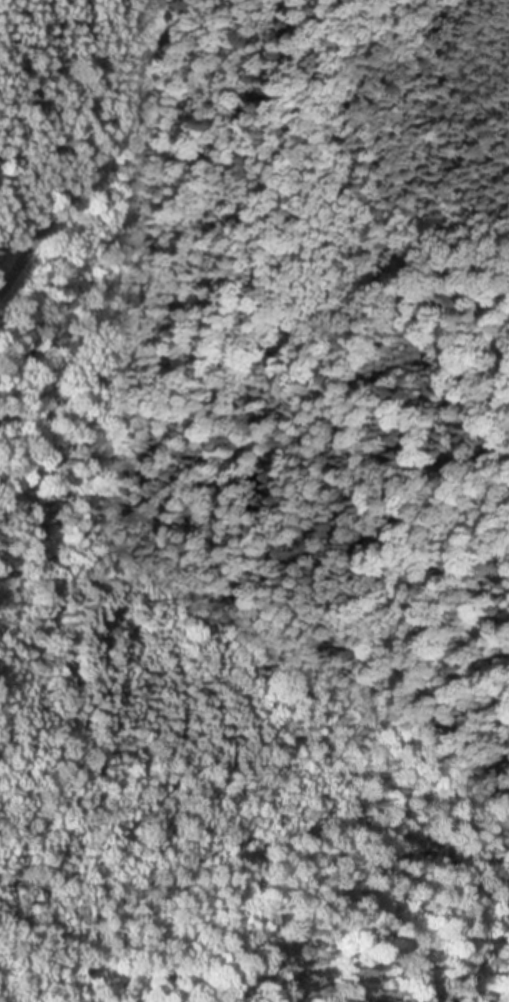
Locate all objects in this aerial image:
road: (104, 154)

